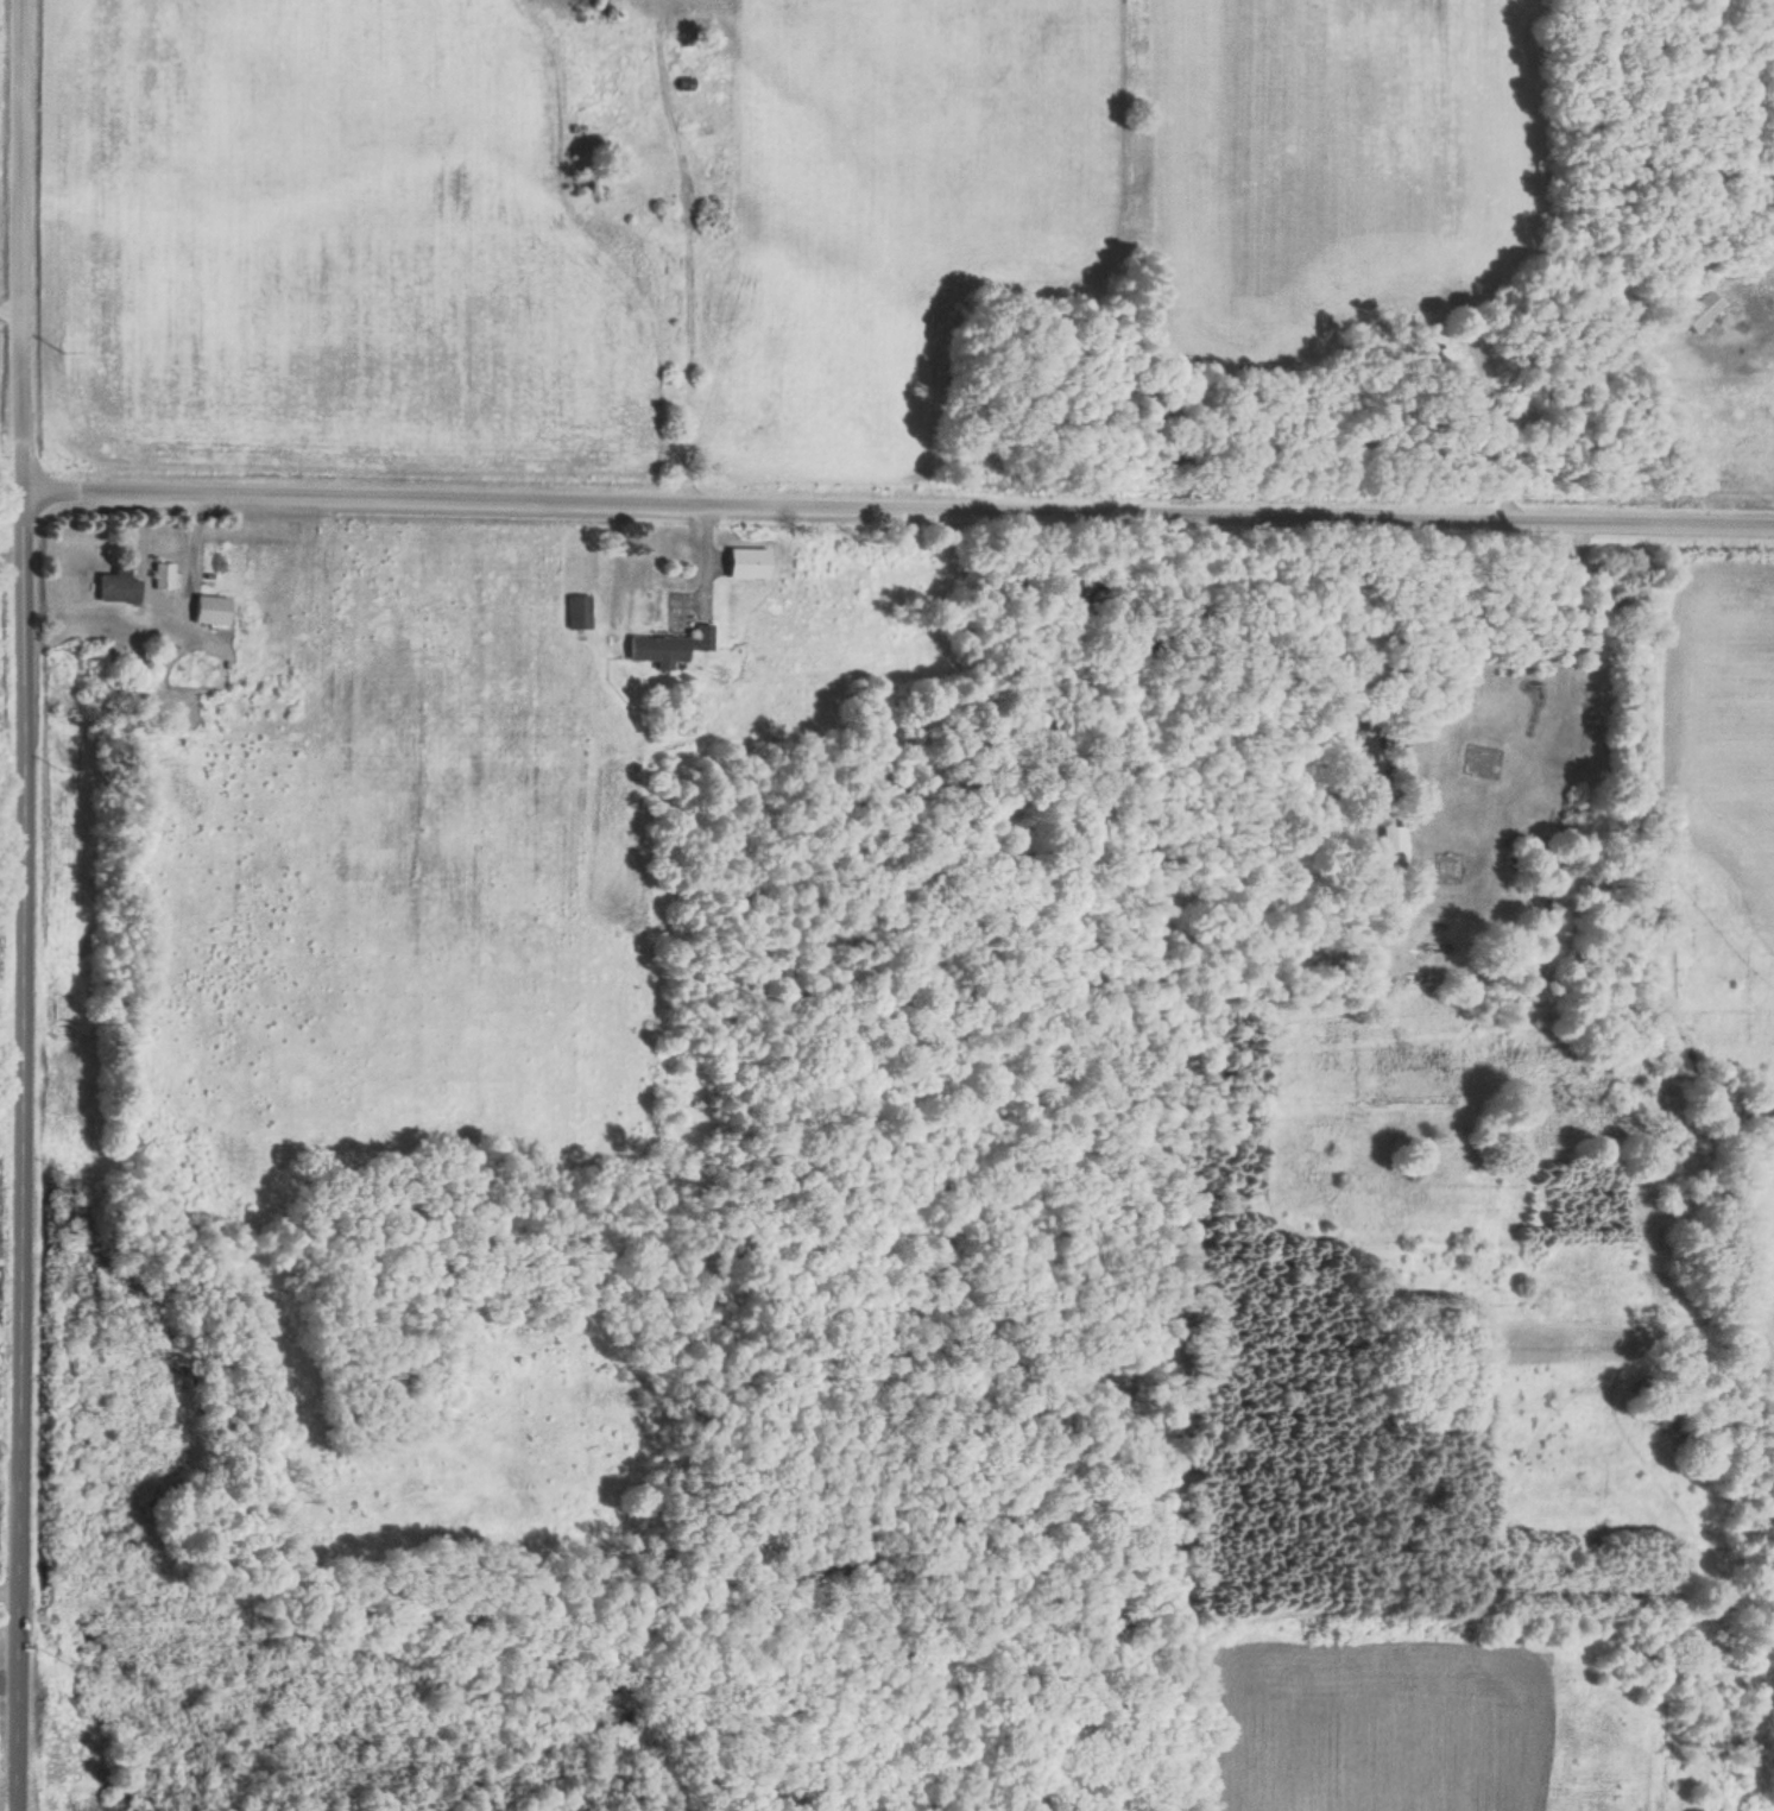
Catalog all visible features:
building: (1702, 308)
road: (896, 505)
building: (747, 561)
building: (162, 574)
building: (116, 585)
building: (209, 608)
building: (577, 610)
building: (668, 645)
building: (1390, 845)
road: (17, 904)

